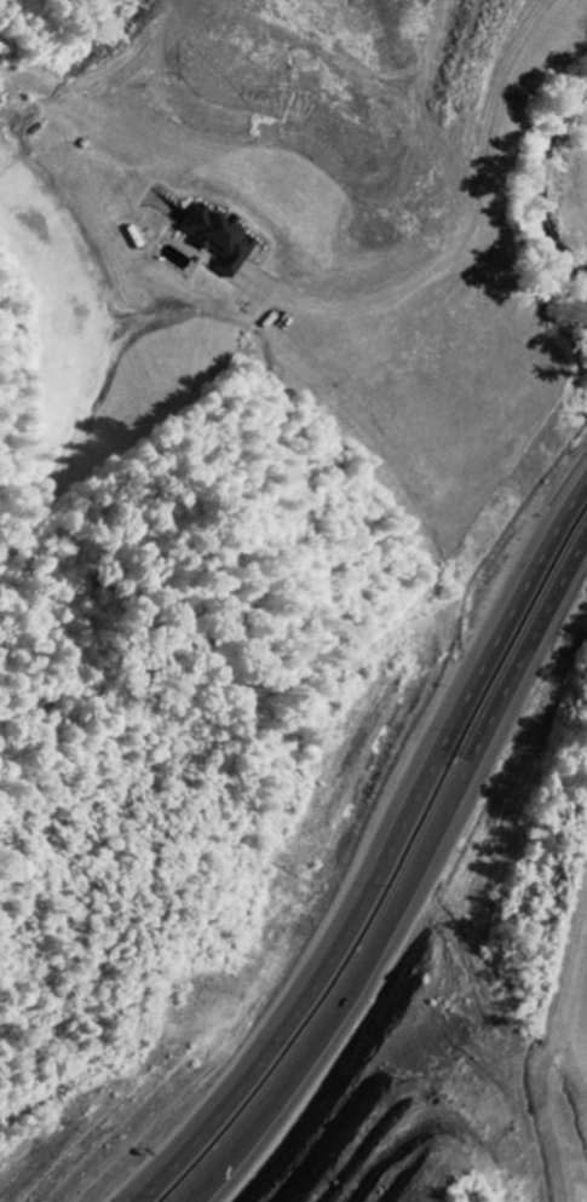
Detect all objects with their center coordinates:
road: (548, 2)
river: (541, 176)
building: (214, 238)
road: (393, 852)
road: (416, 884)

